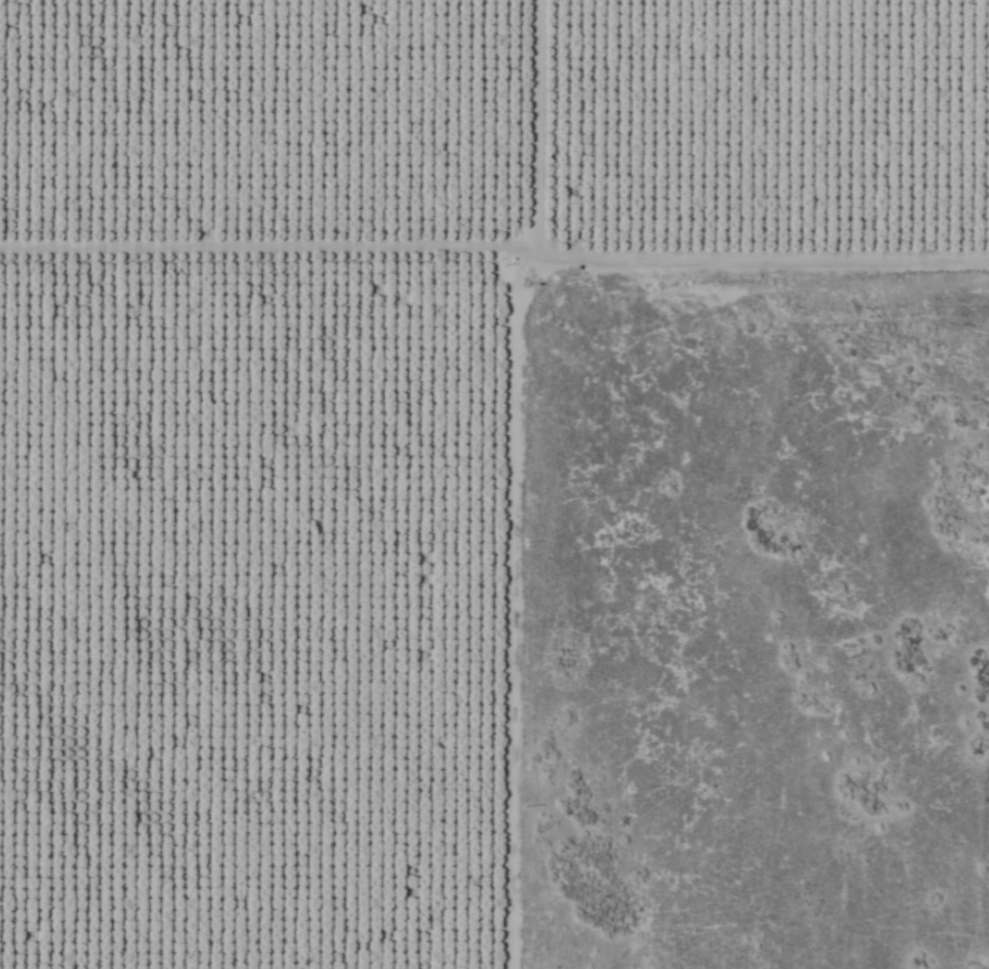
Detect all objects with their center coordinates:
road: (495, 247)
road: (506, 483)

